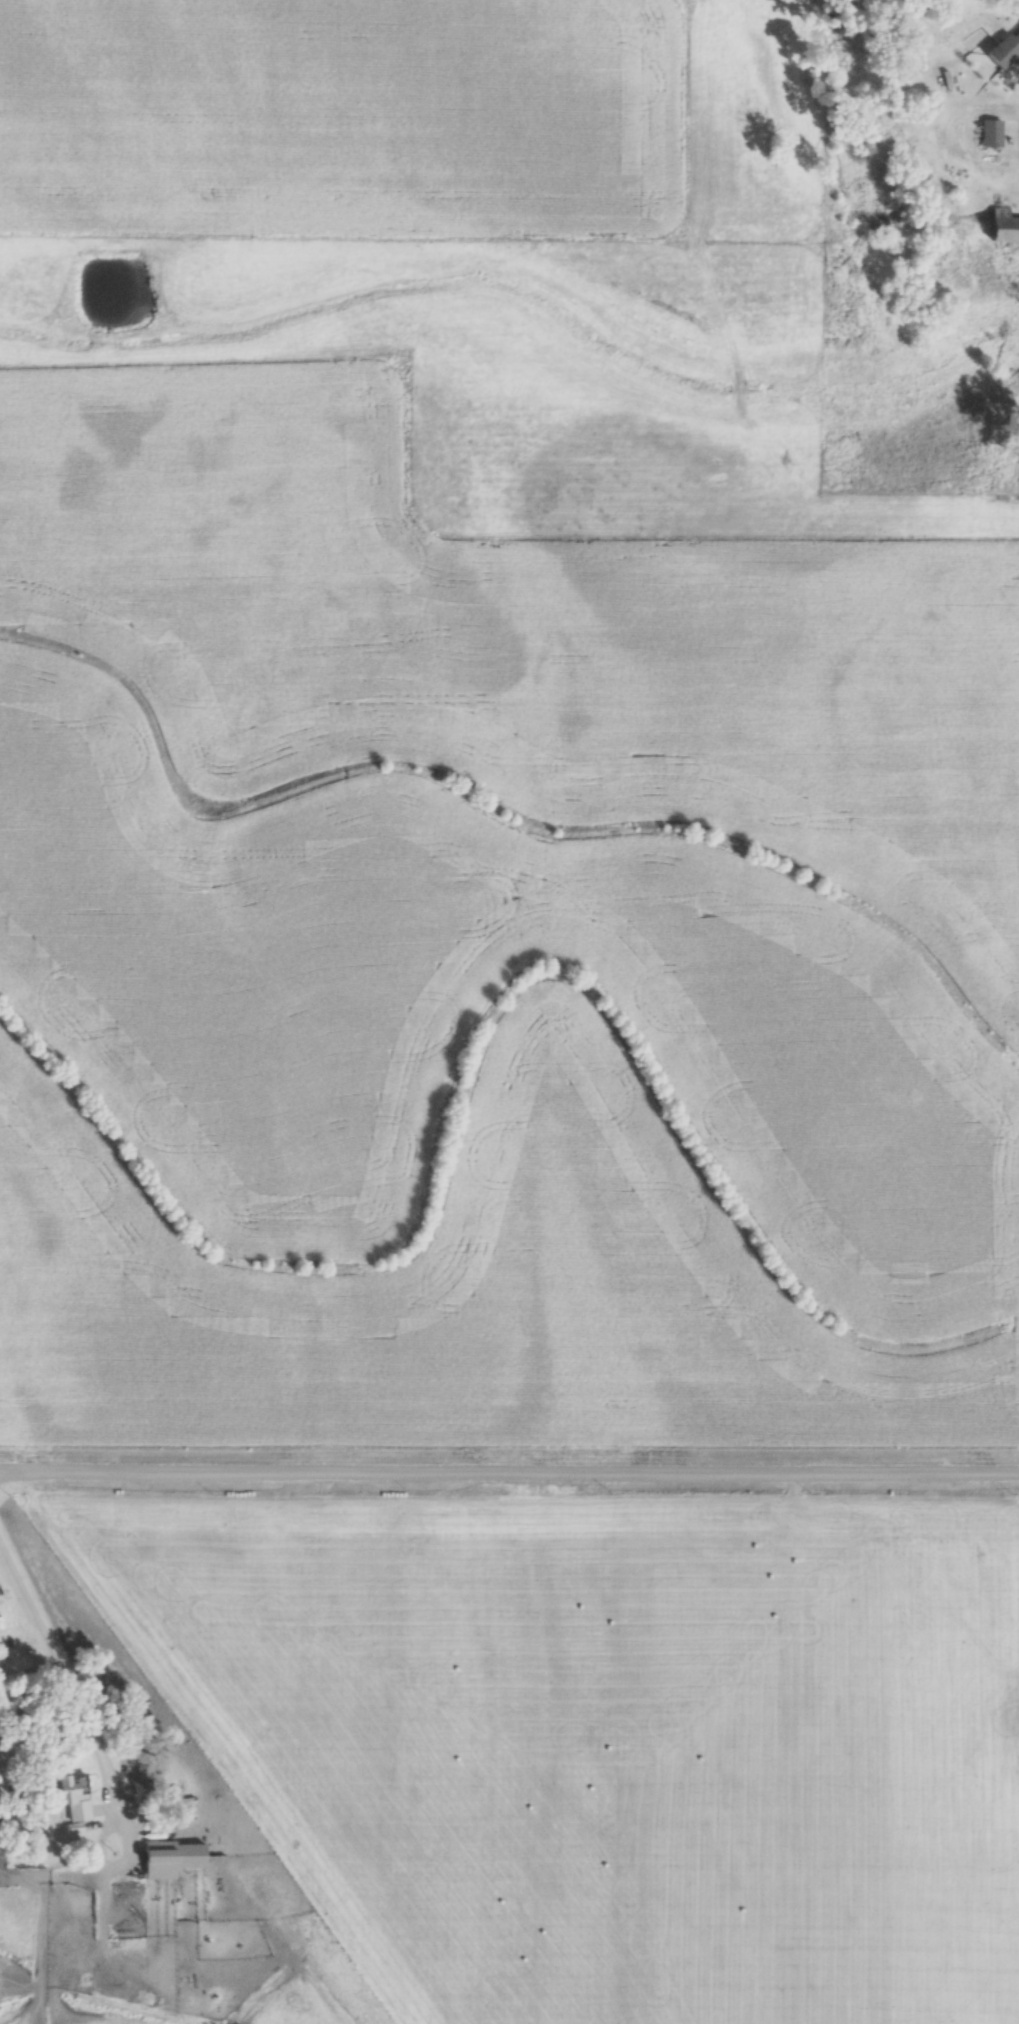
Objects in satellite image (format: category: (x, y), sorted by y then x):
building: (1006, 46)
building: (989, 133)
building: (1001, 229)
road: (509, 538)
road: (509, 1476)
road: (60, 1666)
building: (72, 1796)
building: (168, 1858)
road: (112, 1864)

